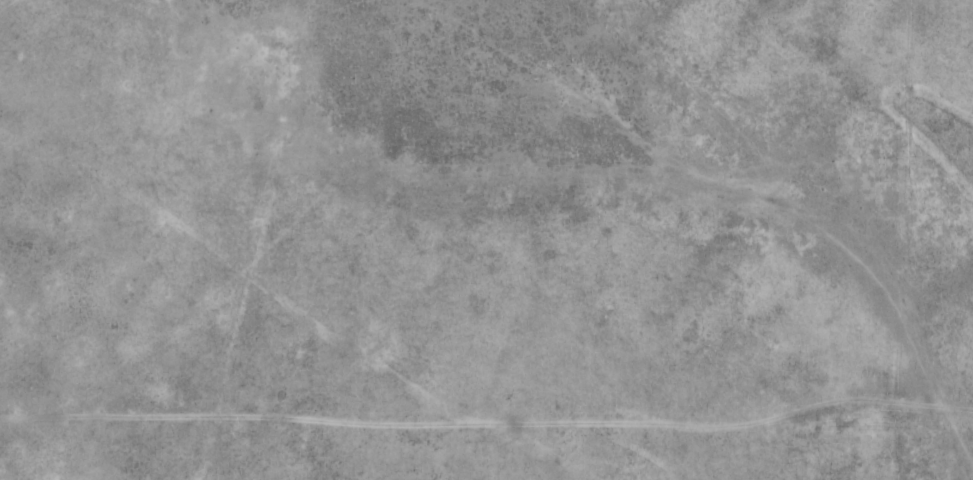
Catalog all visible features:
road: (925, 240)

